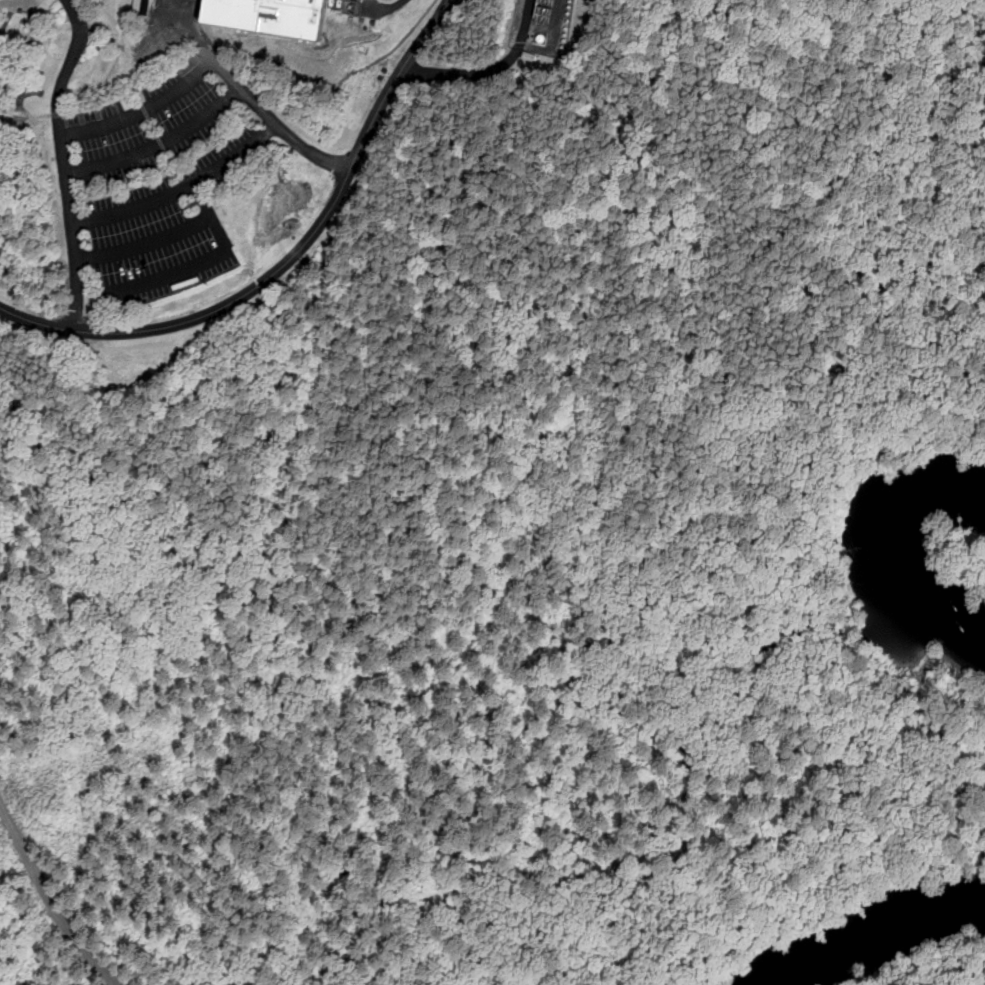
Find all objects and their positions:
building: (542, 3)
road: (215, 61)
road: (160, 145)
road: (65, 160)
parking lot: (164, 181)
road: (183, 188)
road: (202, 200)
road: (224, 244)
road: (287, 261)
river: (899, 553)
road: (51, 901)
river: (901, 946)

